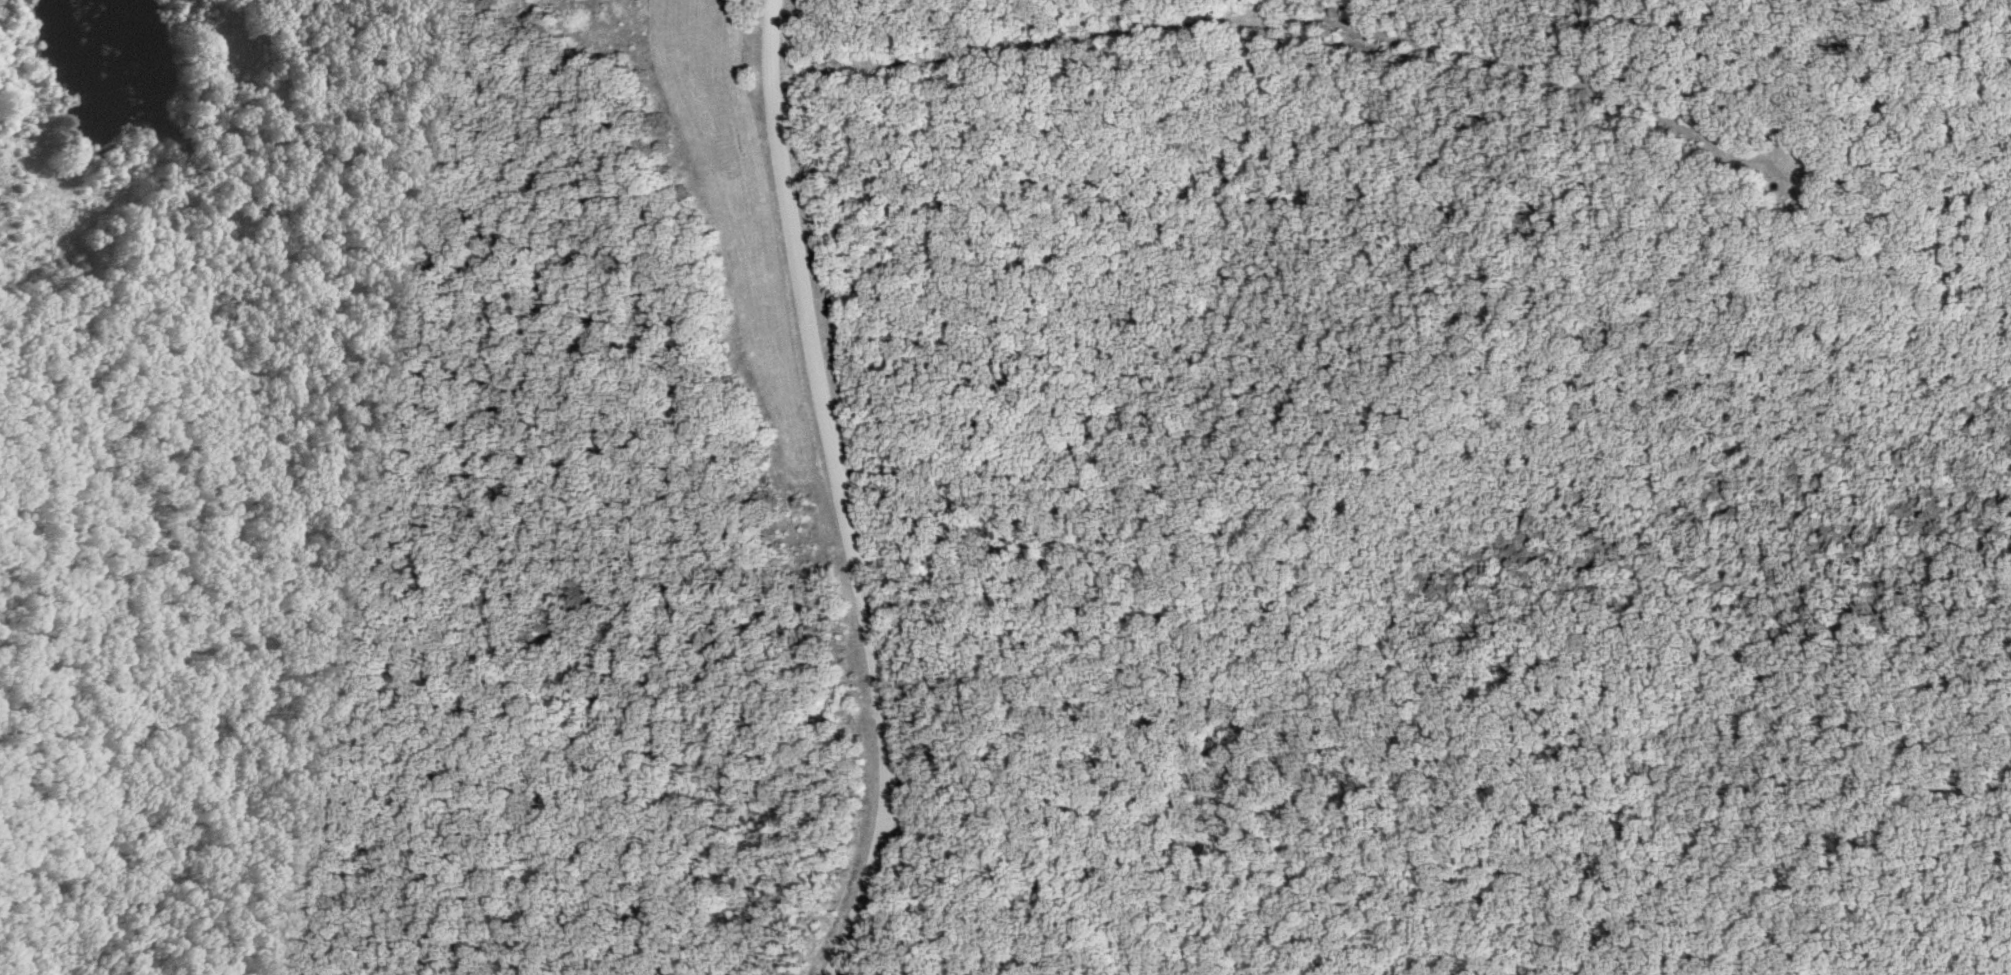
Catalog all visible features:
road: (837, 493)

